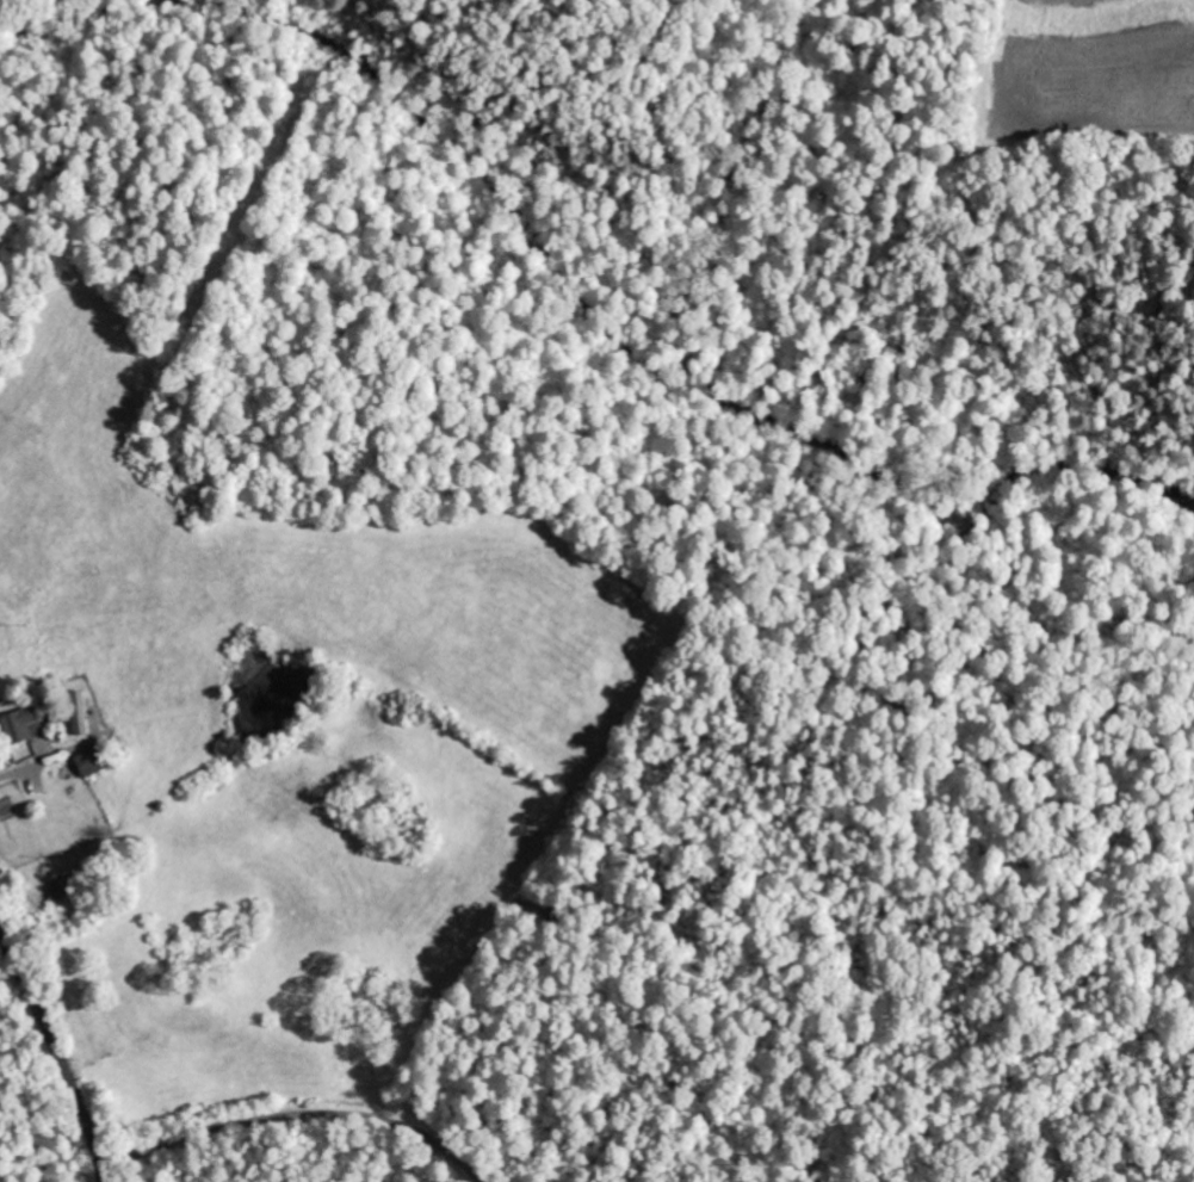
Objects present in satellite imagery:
building: (76, 713)
building: (19, 726)
building: (88, 763)
building: (58, 891)
road: (58, 1050)
road: (295, 1112)

